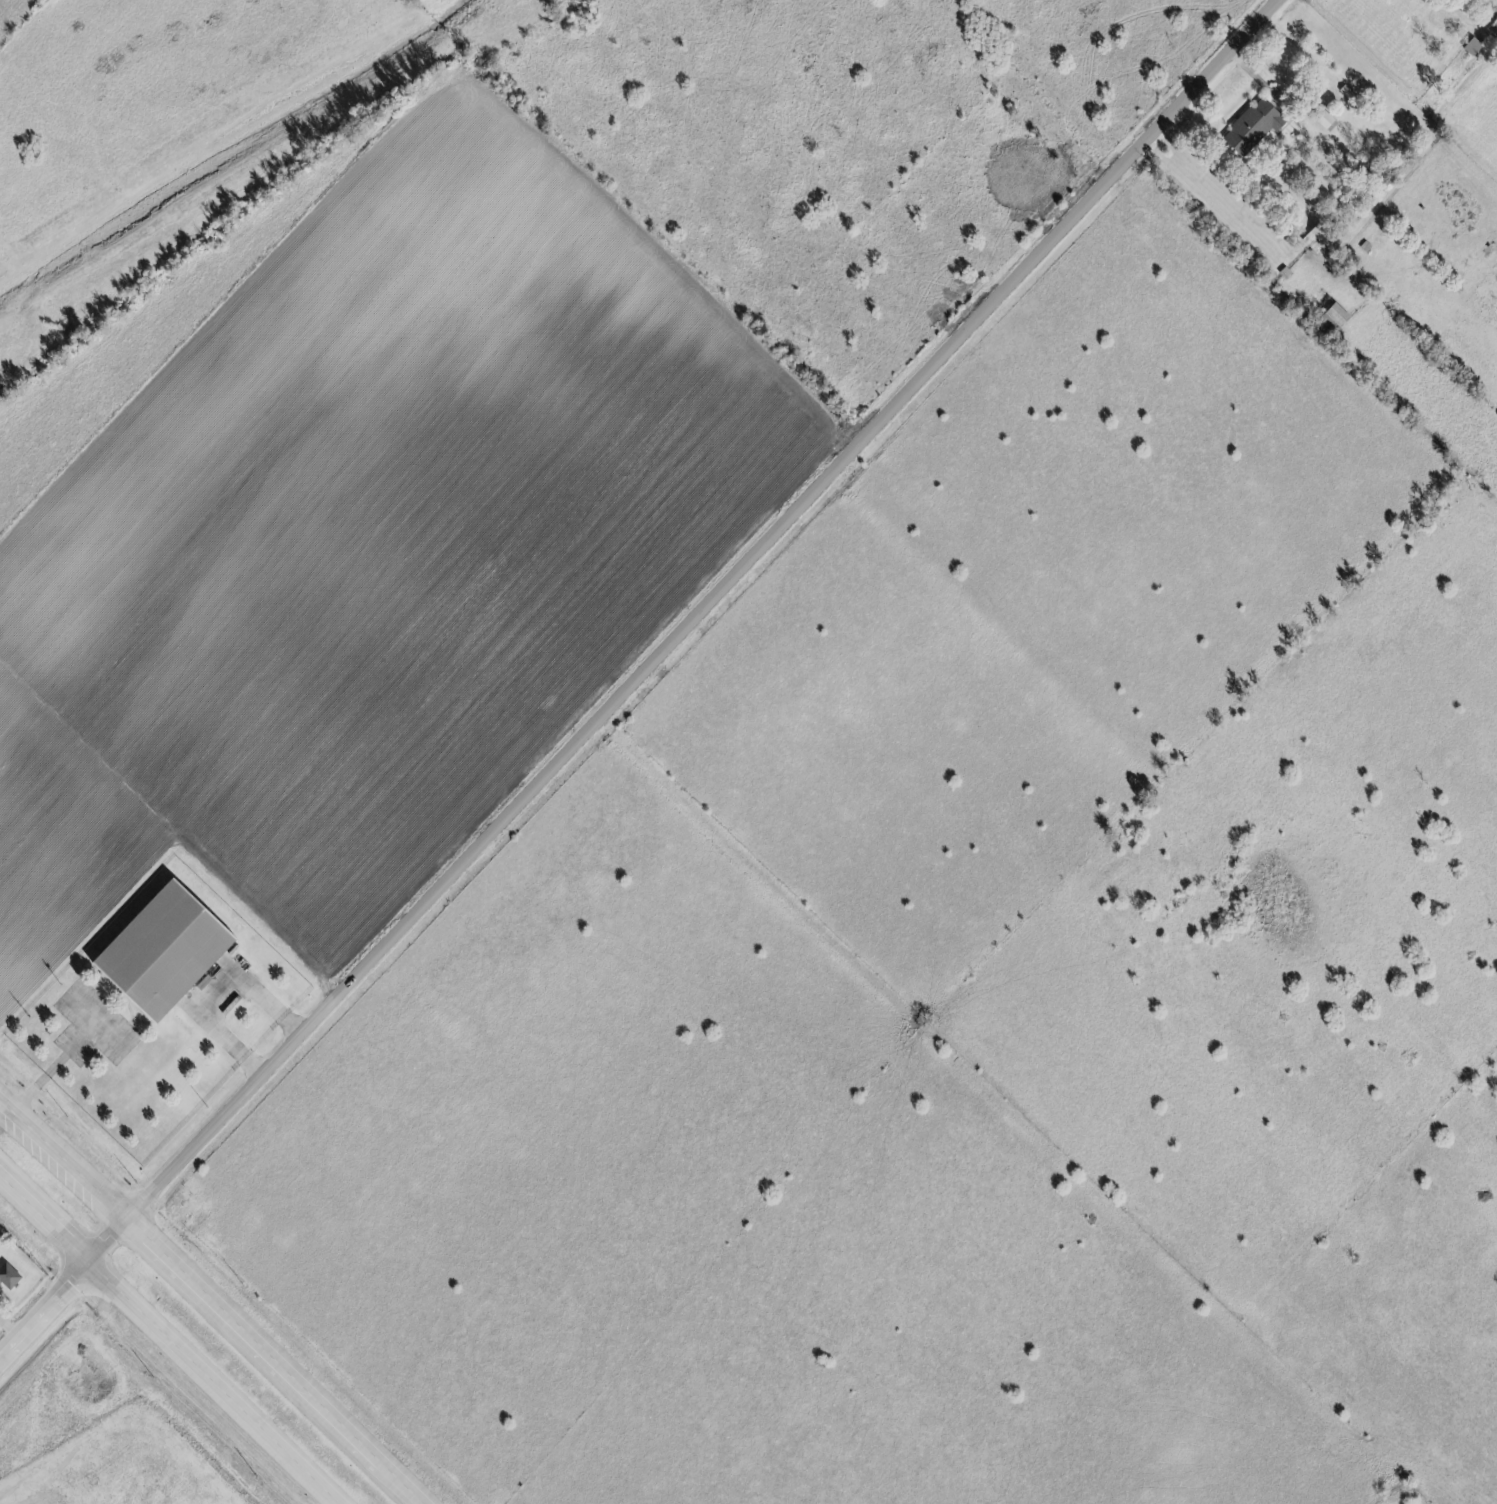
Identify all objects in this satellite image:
building: (1469, 47)
building: (1322, 121)
building: (1248, 128)
building: (1331, 317)
road: (639, 675)
building: (165, 950)
road: (213, 993)
road: (51, 1066)
building: (7, 1280)
road: (210, 1302)
road: (155, 1354)

